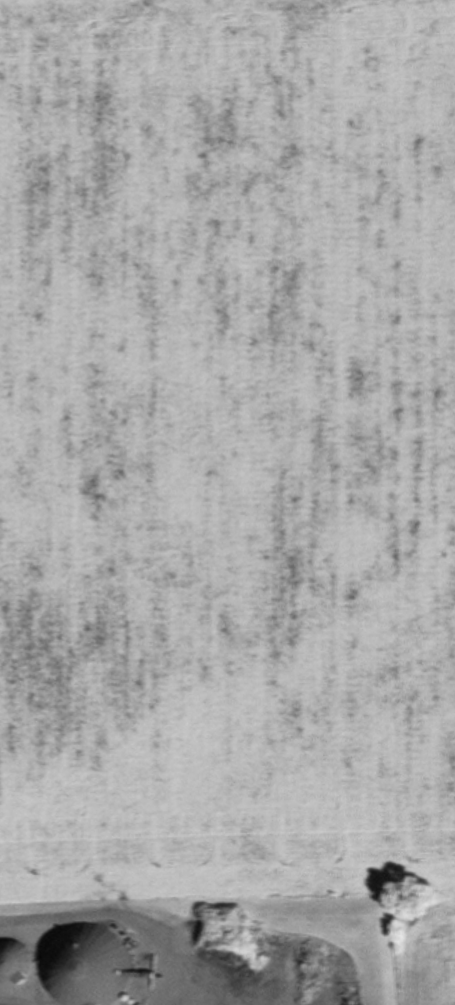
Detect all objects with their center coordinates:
building: (11, 967)
building: (88, 967)

